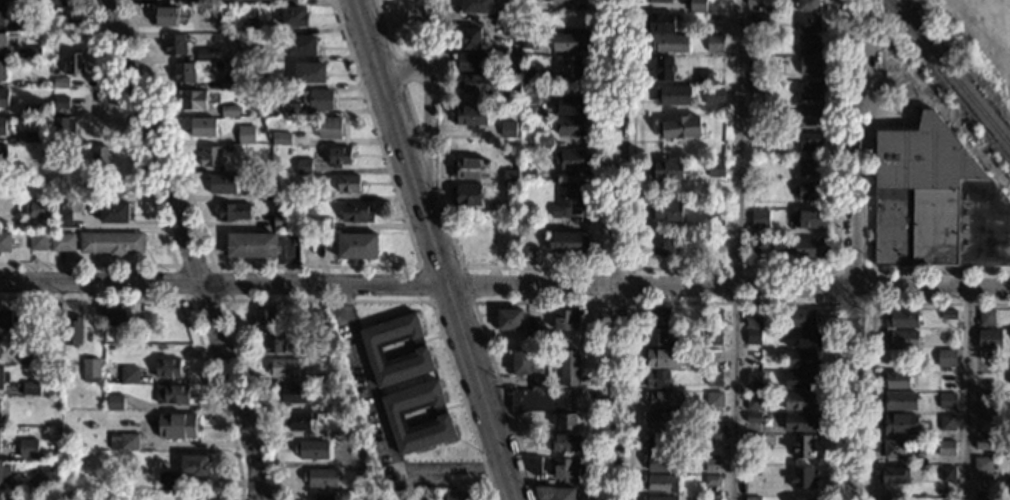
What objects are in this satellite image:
building: (294, 0)
building: (658, 1)
building: (567, 2)
building: (754, 2)
building: (60, 4)
building: (530, 5)
building: (807, 5)
building: (477, 6)
building: (697, 6)
building: (510, 11)
building: (2, 13)
building: (166, 16)
building: (294, 16)
building: (574, 20)
building: (759, 21)
building: (660, 22)
building: (808, 23)
building: (27, 24)
building: (74, 24)
building: (249, 26)
building: (225, 27)
building: (530, 27)
building: (511, 28)
building: (469, 39)
building: (530, 41)
building: (571, 42)
building: (2, 43)
building: (175, 43)
building: (670, 43)
building: (715, 43)
building: (300, 44)
building: (808, 44)
building: (765, 50)
building: (33, 52)
building: (253, 52)
building: (204, 54)
building: (221, 56)
building: (229, 56)
building: (214, 57)
road: (396, 57)
building: (471, 61)
building: (756, 61)
building: (74, 63)
building: (813, 65)
building: (571, 67)
building: (664, 67)
building: (2, 70)
building: (183, 72)
building: (310, 72)
road: (399, 72)
road: (400, 72)
railway: (950, 73)
building: (528, 76)
building: (704, 77)
building: (262, 80)
building: (33, 81)
building: (477, 82)
building: (61, 83)
building: (228, 83)
building: (755, 86)
building: (811, 91)
building: (530, 94)
building: (673, 95)
building: (714, 95)
building: (511, 97)
building: (4, 98)
building: (191, 99)
building: (318, 99)
road: (427, 99)
building: (61, 102)
building: (572, 105)
building: (32, 109)
building: (291, 109)
building: (229, 110)
road: (410, 110)
building: (755, 111)
building: (470, 114)
road: (946, 115)
building: (810, 116)
building: (2, 126)
building: (572, 126)
building: (203, 127)
building: (330, 127)
building: (681, 127)
building: (508, 128)
building: (64, 129)
building: (246, 134)
building: (762, 136)
building: (31, 137)
building: (286, 138)
building: (544, 140)
building: (810, 141)
building: (227, 149)
building: (3, 155)
building: (210, 156)
building: (339, 156)
building: (99, 158)
building: (573, 158)
road: (855, 159)
building: (303, 165)
road: (428, 166)
building: (810, 166)
building: (468, 167)
building: (713, 168)
building: (669, 170)
building: (528, 173)
building: (510, 176)
building: (222, 182)
building: (348, 183)
building: (264, 191)
building: (811, 191)
building: (100, 193)
building: (89, 194)
building: (466, 194)
building: (317, 195)
building: (568, 197)
building: (935, 201)
building: (233, 211)
building: (355, 211)
building: (668, 211)
building: (38, 212)
building: (114, 212)
road: (158, 214)
building: (62, 219)
building: (760, 219)
building: (811, 219)
building: (282, 220)
building: (324, 223)
building: (715, 223)
building: (38, 241)
building: (5, 242)
building: (62, 242)
building: (569, 242)
building: (111, 243)
building: (251, 244)
building: (661, 244)
road: (189, 245)
building: (357, 245)
building: (754, 245)
building: (811, 248)
road: (434, 250)
road: (618, 250)
road: (736, 250)
building: (526, 254)
road: (315, 266)
road: (528, 267)
road: (731, 268)
road: (871, 270)
road: (940, 270)
road: (426, 285)
road: (931, 288)
road: (222, 300)
road: (325, 301)
road: (430, 302)
road: (529, 302)
road: (598, 303)
road: (733, 303)
road: (189, 310)
building: (948, 314)
building: (116, 317)
building: (661, 317)
building: (714, 317)
building: (986, 317)
building: (265, 318)
building: (313, 318)
building: (803, 318)
building: (902, 318)
building: (510, 320)
building: (566, 320)
building: (13, 321)
building: (754, 321)
building: (72, 331)
road: (871, 333)
building: (141, 334)
building: (533, 336)
building: (714, 336)
building: (753, 336)
building: (658, 338)
building: (802, 338)
building: (901, 338)
building: (551, 339)
building: (989, 339)
building: (273, 343)
building: (373, 349)
building: (311, 350)
building: (1, 351)
building: (753, 355)
building: (28, 357)
building: (946, 357)
building: (663, 358)
building: (801, 359)
building: (523, 362)
building: (283, 367)
building: (569, 367)
building: (168, 368)
building: (90, 369)
building: (57, 373)
building: (129, 375)
building: (3, 378)
building: (320, 378)
building: (658, 379)
building: (714, 379)
building: (754, 379)
building: (898, 379)
building: (802, 380)
building: (987, 381)
building: (538, 382)
building: (551, 384)
building: (33, 388)
road: (851, 393)
building: (173, 394)
building: (291, 394)
road: (963, 394)
building: (664, 399)
building: (714, 399)
building: (539, 400)
building: (899, 400)
building: (947, 400)
building: (115, 401)
building: (800, 401)
building: (754, 402)
building: (331, 405)
building: (986, 411)
building: (538, 413)
building: (394, 416)
building: (753, 417)
building: (301, 420)
building: (565, 420)
building: (663, 420)
building: (802, 422)
building: (947, 423)
building: (712, 424)
building: (899, 424)
building: (177, 425)
road: (384, 429)
building: (114, 441)
building: (129, 441)
building: (753, 441)
building: (565, 442)
building: (659, 443)
building: (983, 443)
building: (711, 445)
building: (802, 446)
building: (28, 447)
building: (892, 448)
building: (946, 448)
building: (311, 449)
building: (661, 462)
building: (711, 463)
building: (195, 464)
building: (534, 464)
building: (982, 464)
building: (53, 465)
building: (566, 468)
building: (753, 470)
building: (5, 473)
building: (948, 474)
building: (895, 475)
building: (321, 477)
building: (802, 477)
building: (44, 480)
building: (165, 480)
building: (712, 480)
building: (661, 483)
building: (555, 493)
building: (0, 495)
building: (64, 496)
building: (456, 496)
building: (982, 496)
building: (322, 497)
building: (659, 497)
building: (196, 498)
building: (711, 498)
building: (753, 498)
building: (809, 499)
building: (892, 499)

